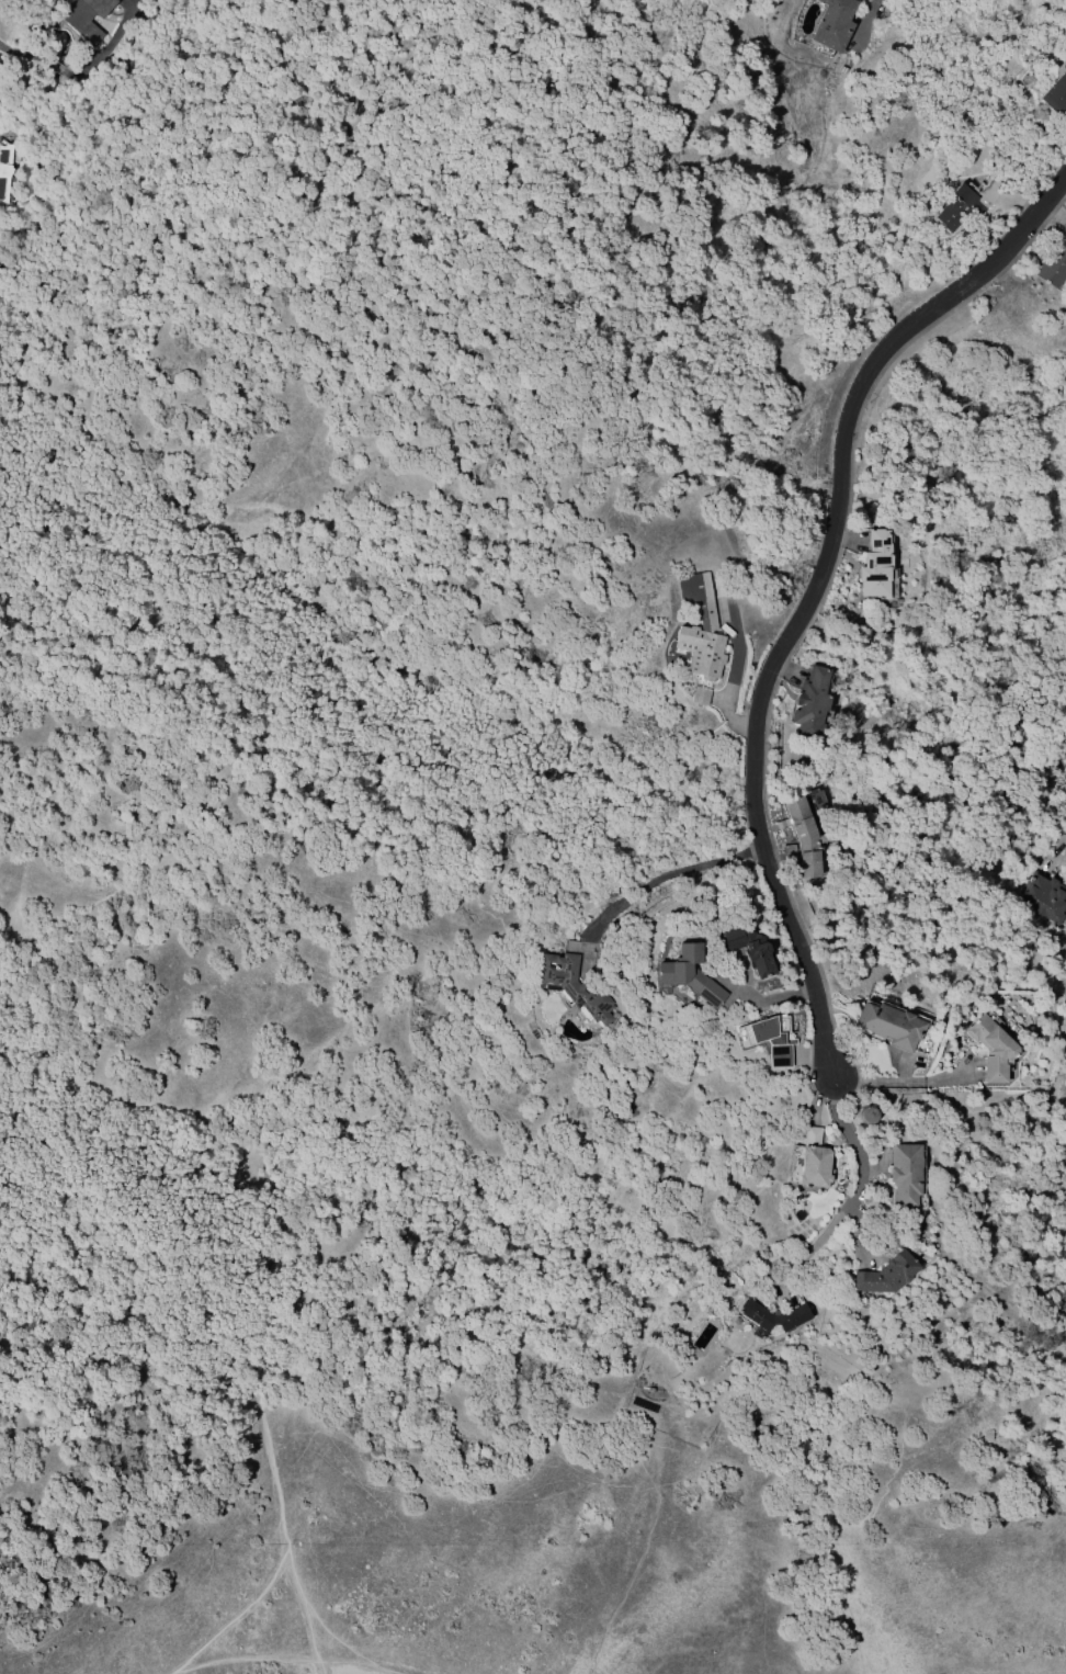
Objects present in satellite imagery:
building: (87, 16)
building: (833, 24)
building: (1055, 94)
building: (4, 171)
building: (965, 205)
building: (1054, 262)
building: (875, 566)
road: (812, 591)
building: (707, 627)
building: (699, 697)
building: (810, 703)
building: (1065, 788)
building: (815, 801)
building: (804, 838)
road: (671, 875)
building: (1044, 900)
building: (570, 947)
building: (748, 949)
building: (688, 973)
building: (571, 986)
road: (774, 998)
building: (889, 1026)
building: (768, 1039)
building: (990, 1049)
road: (906, 1082)
building: (813, 1161)
building: (905, 1174)
road: (852, 1194)
building: (885, 1275)
road: (245, 1301)
building: (771, 1317)
road: (306, 1624)
road: (332, 1639)
road: (266, 1661)
road: (169, 1673)

